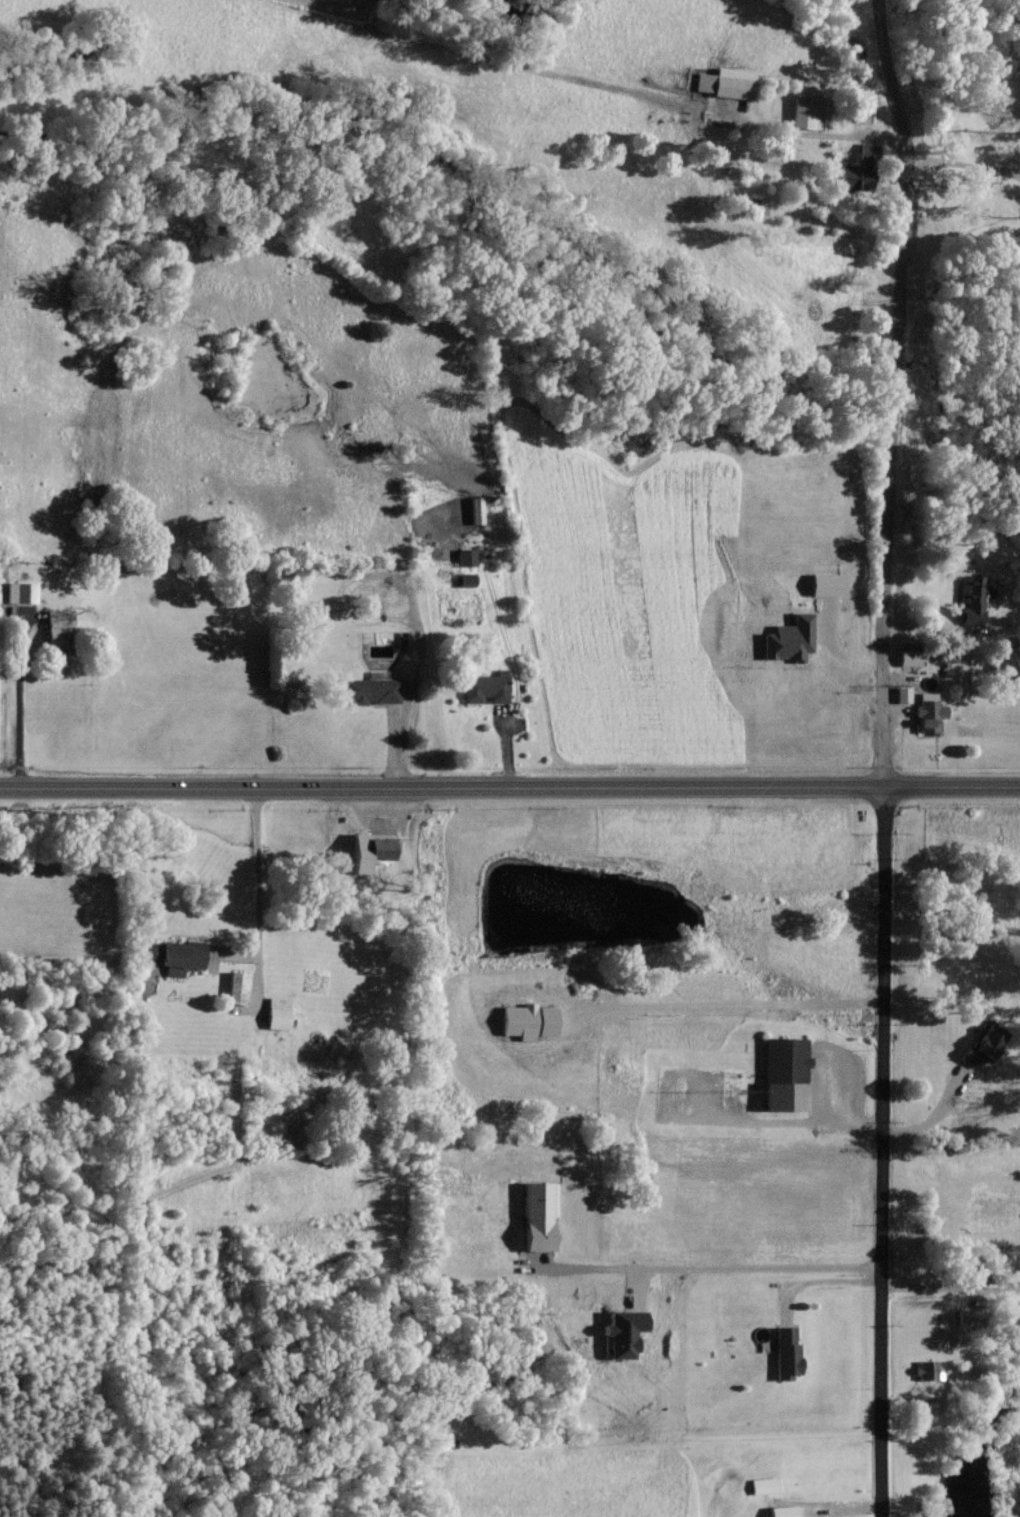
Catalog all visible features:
building: (724, 81)
building: (803, 110)
road: (815, 133)
building: (864, 150)
road: (961, 163)
building: (849, 175)
building: (474, 509)
building: (464, 556)
building: (19, 591)
building: (969, 599)
building: (54, 629)
building: (908, 654)
building: (483, 687)
building: (369, 690)
building: (901, 693)
road: (18, 703)
building: (926, 713)
road: (883, 756)
road: (509, 788)
building: (365, 851)
road: (259, 894)
building: (172, 955)
building: (234, 986)
building: (274, 1012)
building: (980, 1042)
building: (781, 1073)
building: (742, 1090)
building: (535, 1216)
road: (709, 1266)
road: (952, 1287)
building: (783, 1353)
building: (925, 1370)
building: (762, 1484)
building: (779, 1511)

